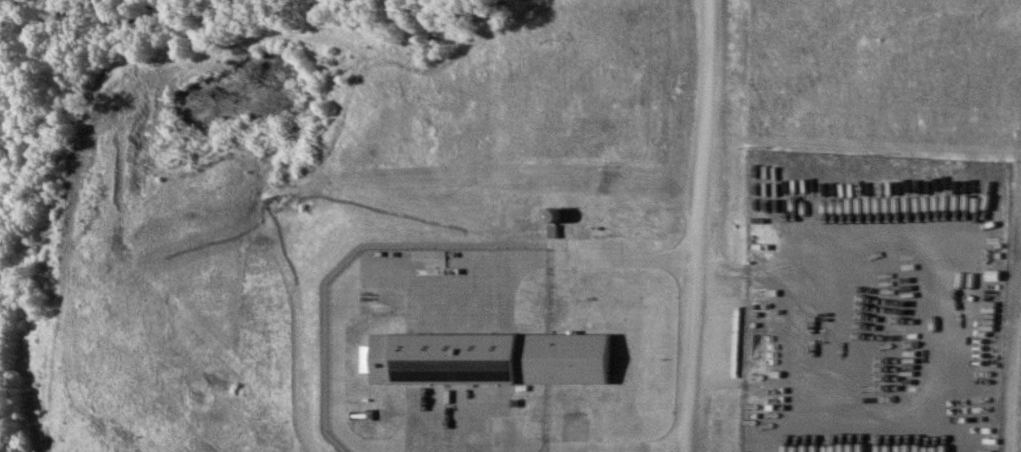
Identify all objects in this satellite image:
road: (689, 225)
building: (563, 304)

